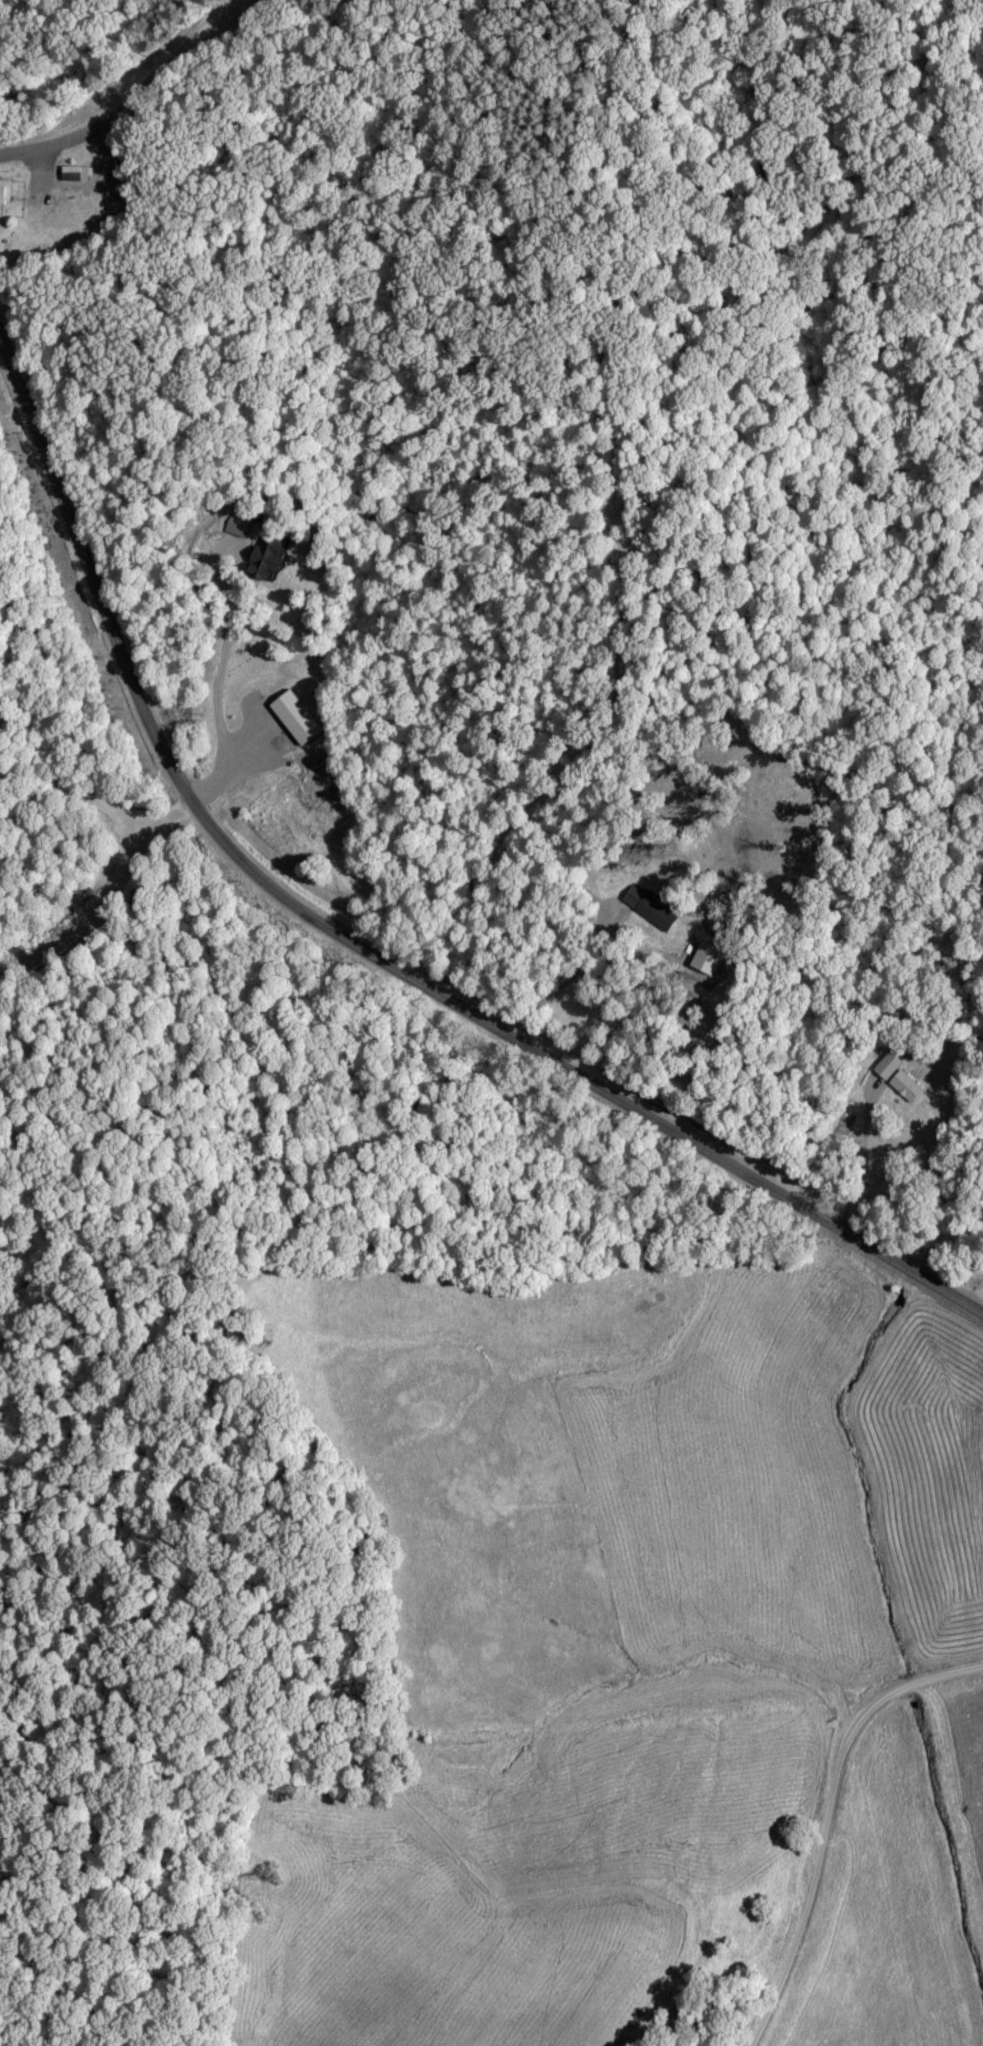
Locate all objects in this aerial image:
road: (170, 117)
building: (74, 172)
building: (5, 190)
road: (1, 279)
building: (266, 552)
road: (222, 671)
building: (296, 717)
road: (103, 808)
building: (649, 907)
road: (351, 914)
building: (897, 1076)
road: (823, 1815)

